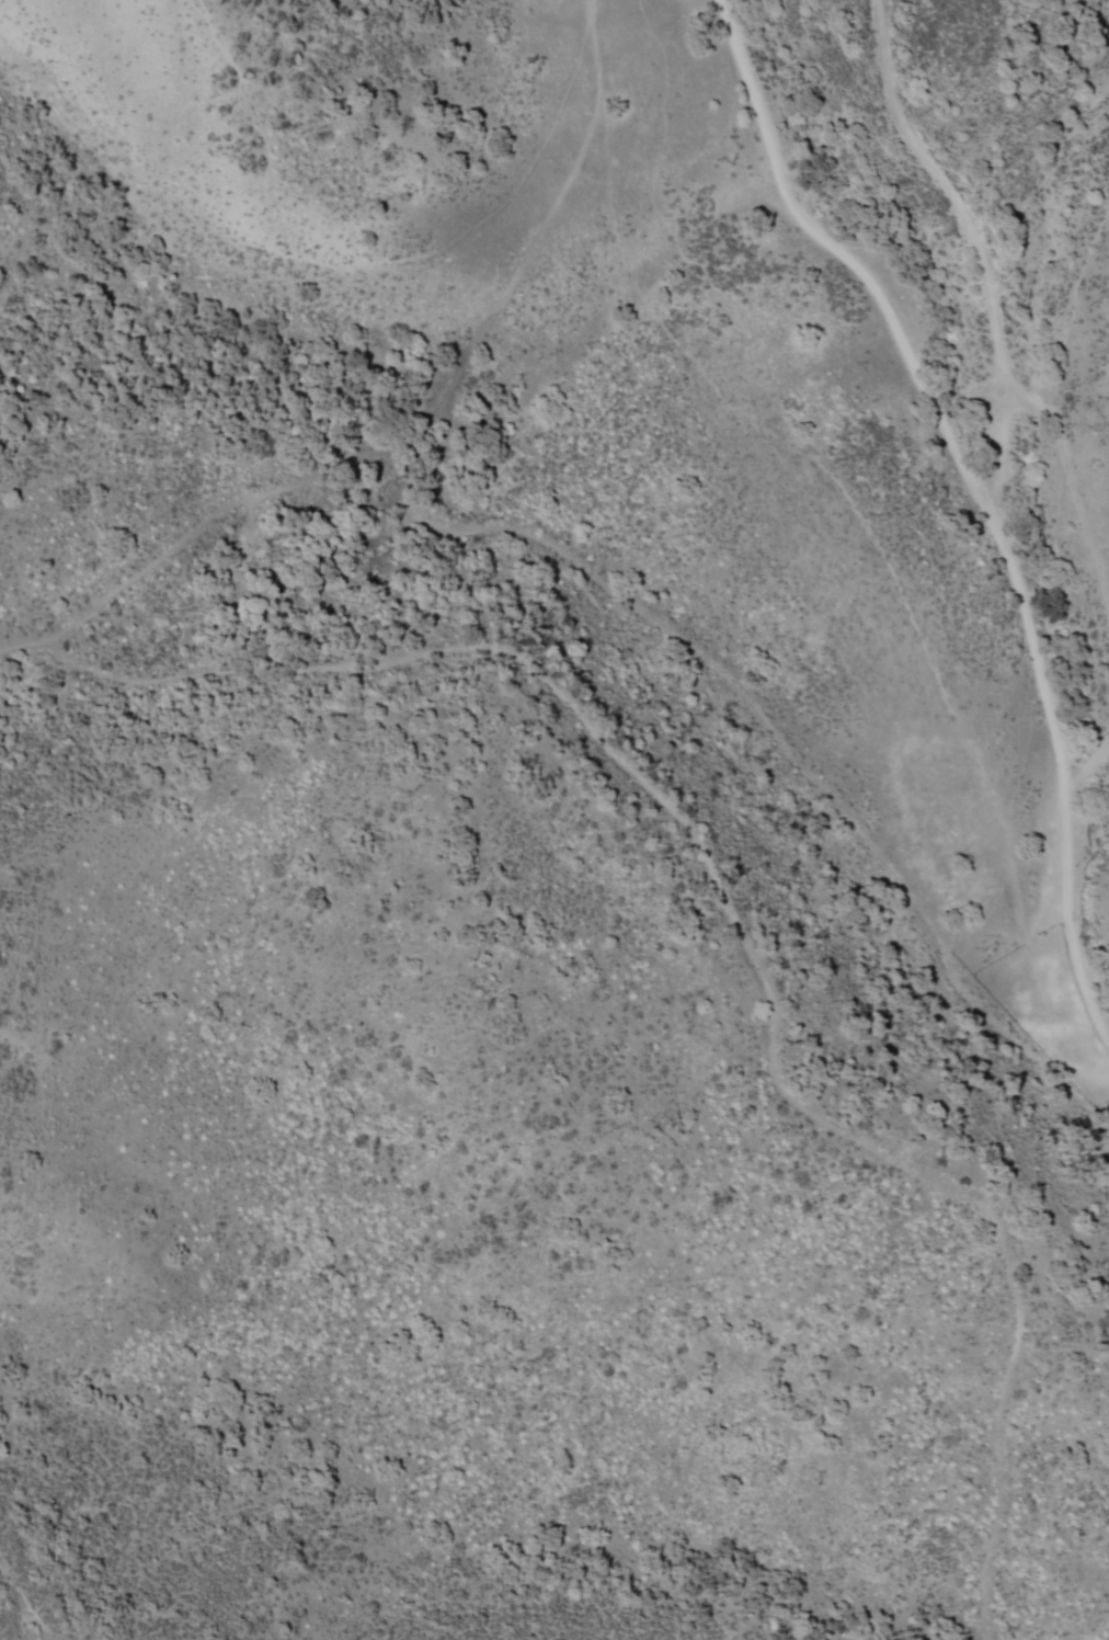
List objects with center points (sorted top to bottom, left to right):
road: (964, 216)
road: (851, 258)
road: (796, 445)
road: (442, 487)
road: (1040, 660)
road: (725, 900)
road: (1081, 959)

